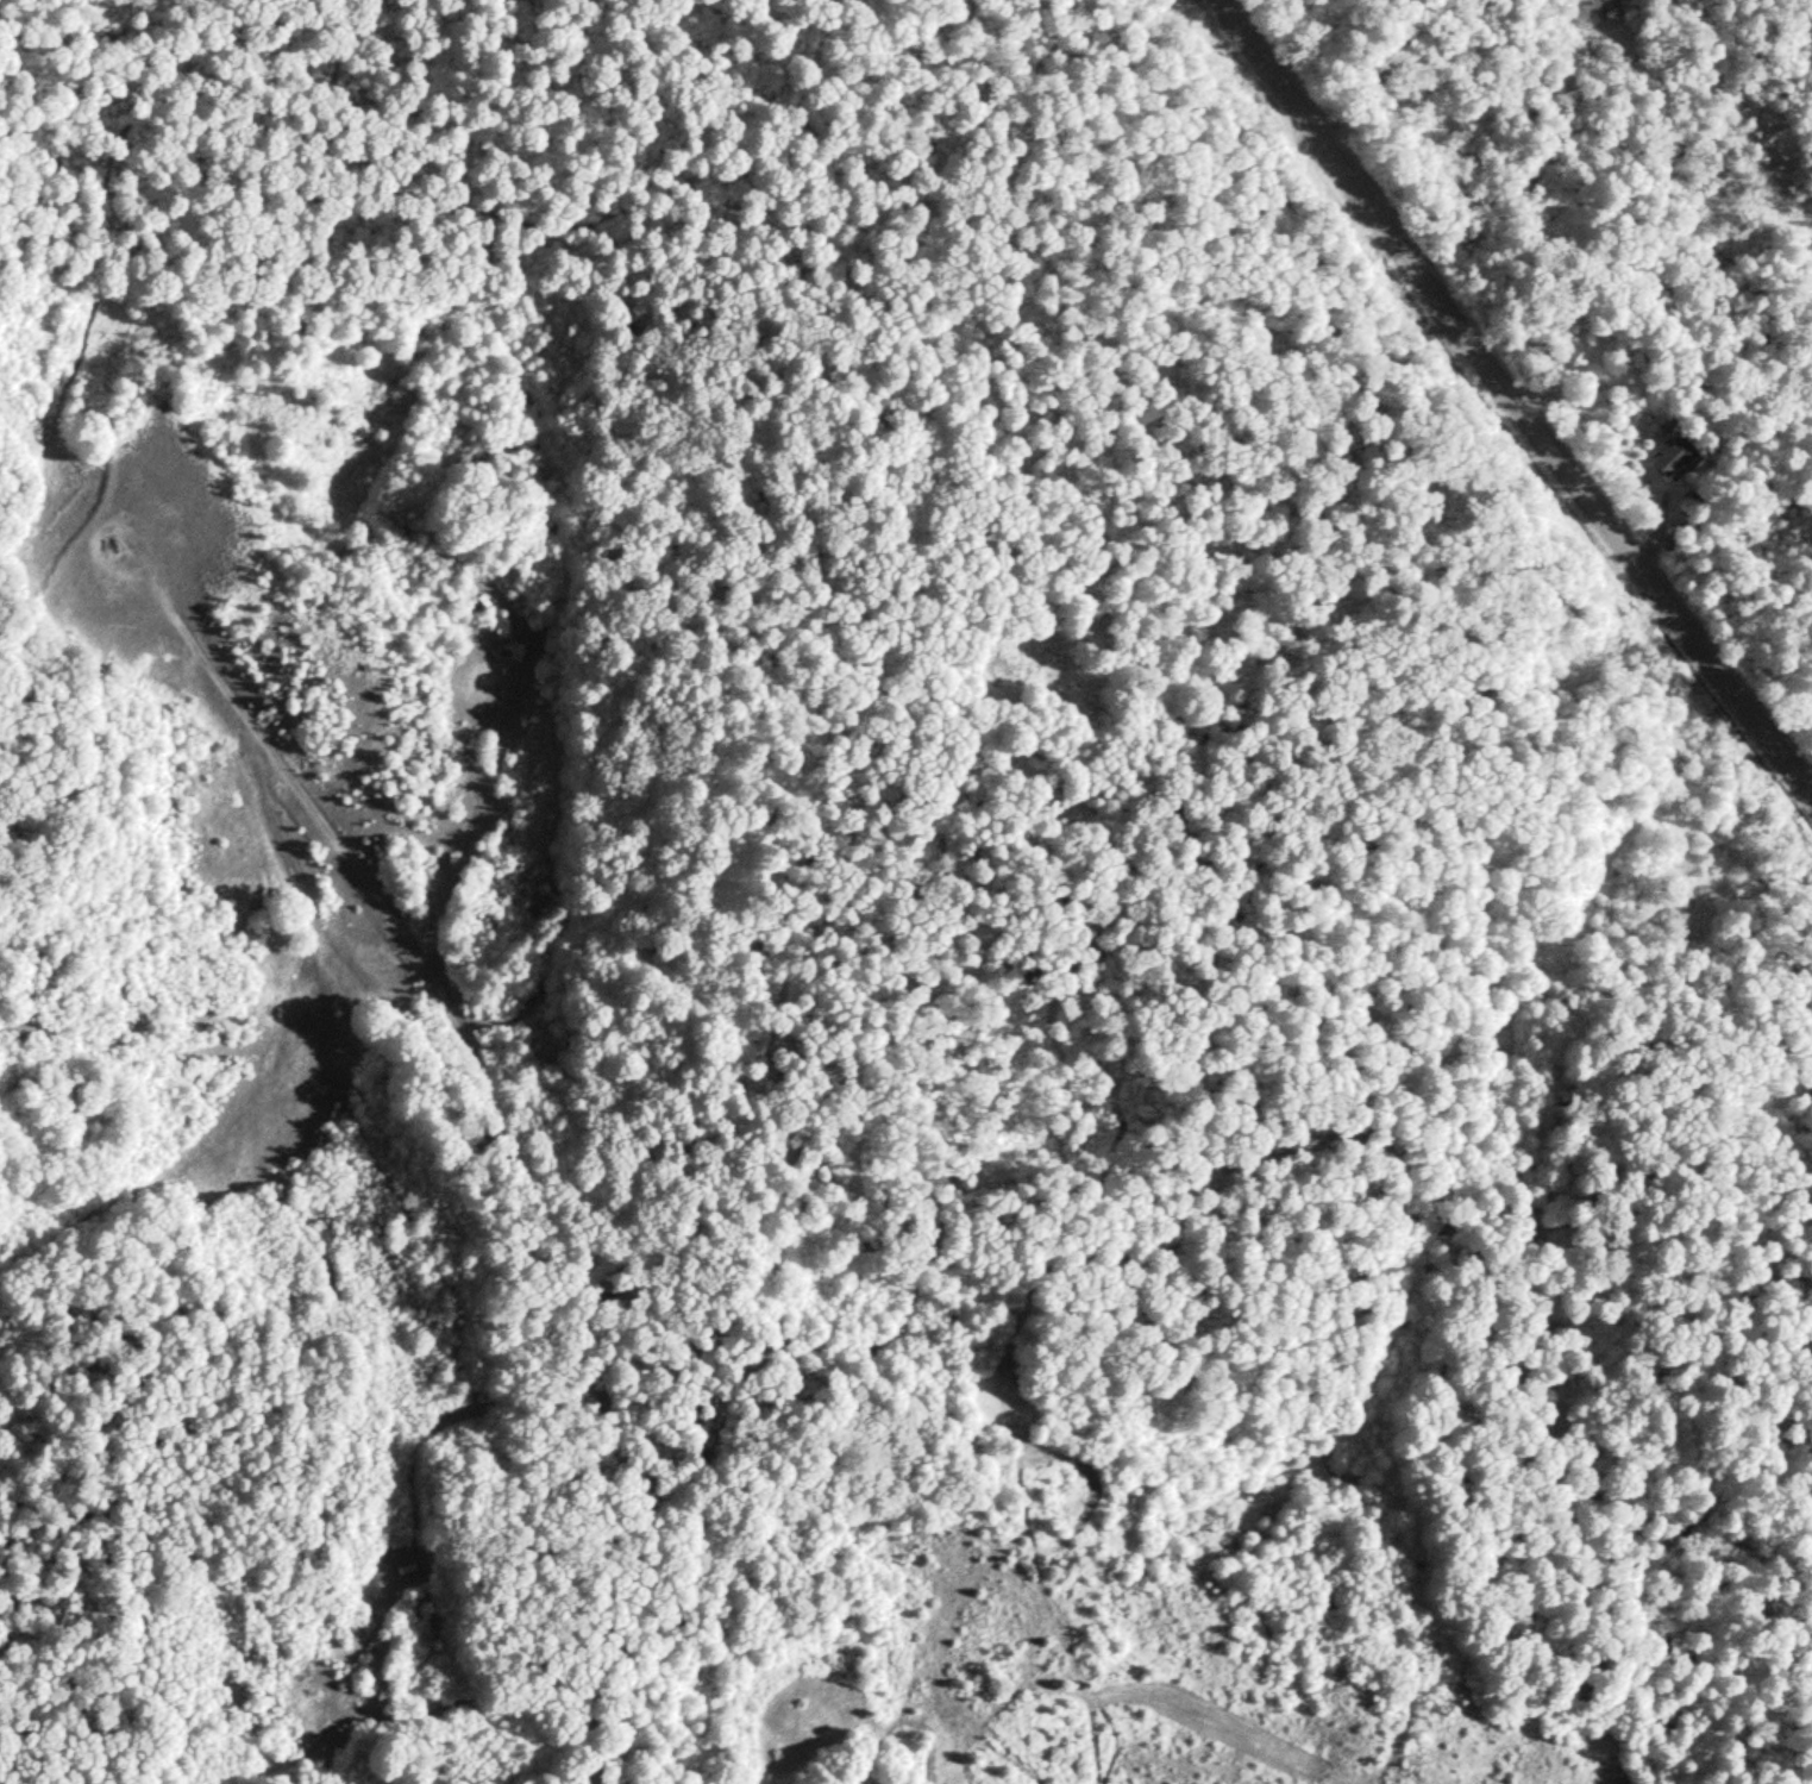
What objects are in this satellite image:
road: (1503, 406)
building: (1672, 452)
road: (95, 531)
petroleum well: (109, 546)
road: (512, 1148)

